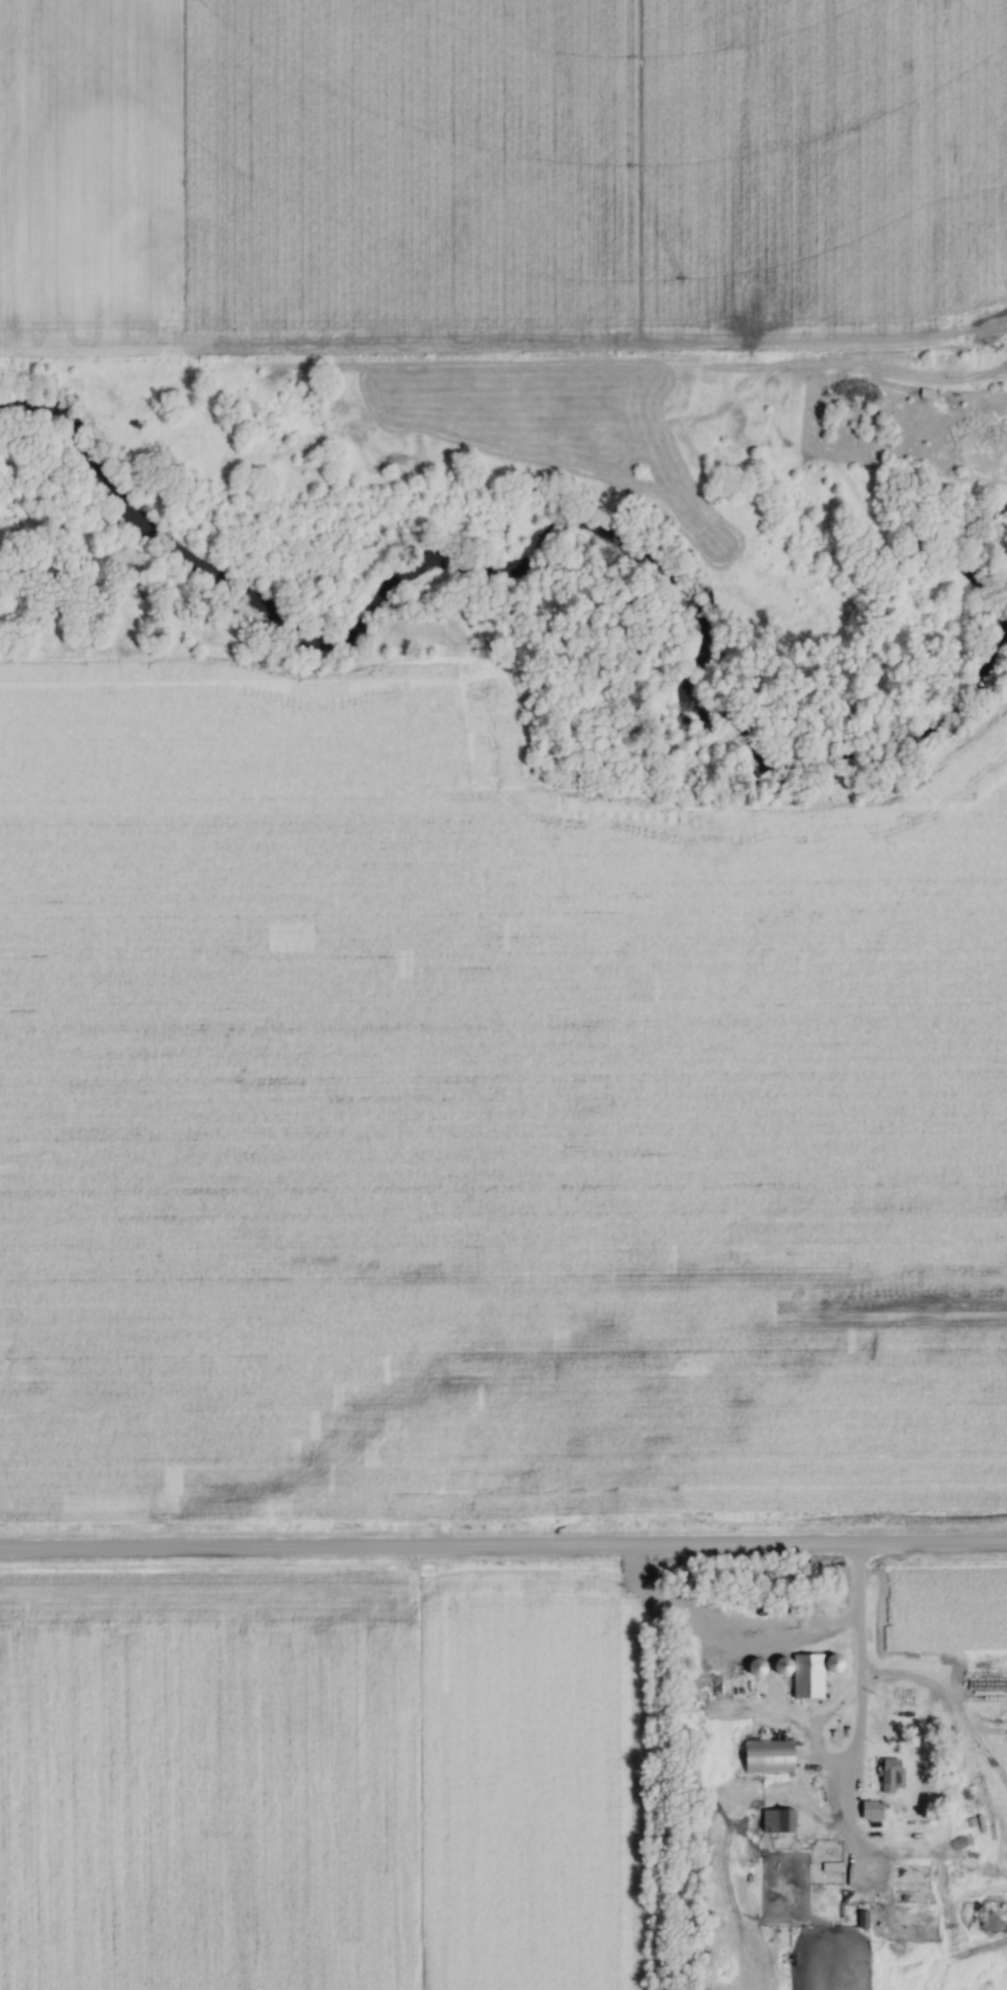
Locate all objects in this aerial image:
crop: (594, 158)
building: (984, 255)
road: (503, 1548)
road: (856, 1659)
building: (833, 1663)
building: (756, 1668)
building: (803, 1674)
building: (735, 1688)
building: (768, 1756)
building: (890, 1775)
building: (870, 1809)
building: (777, 1821)
building: (910, 1872)

